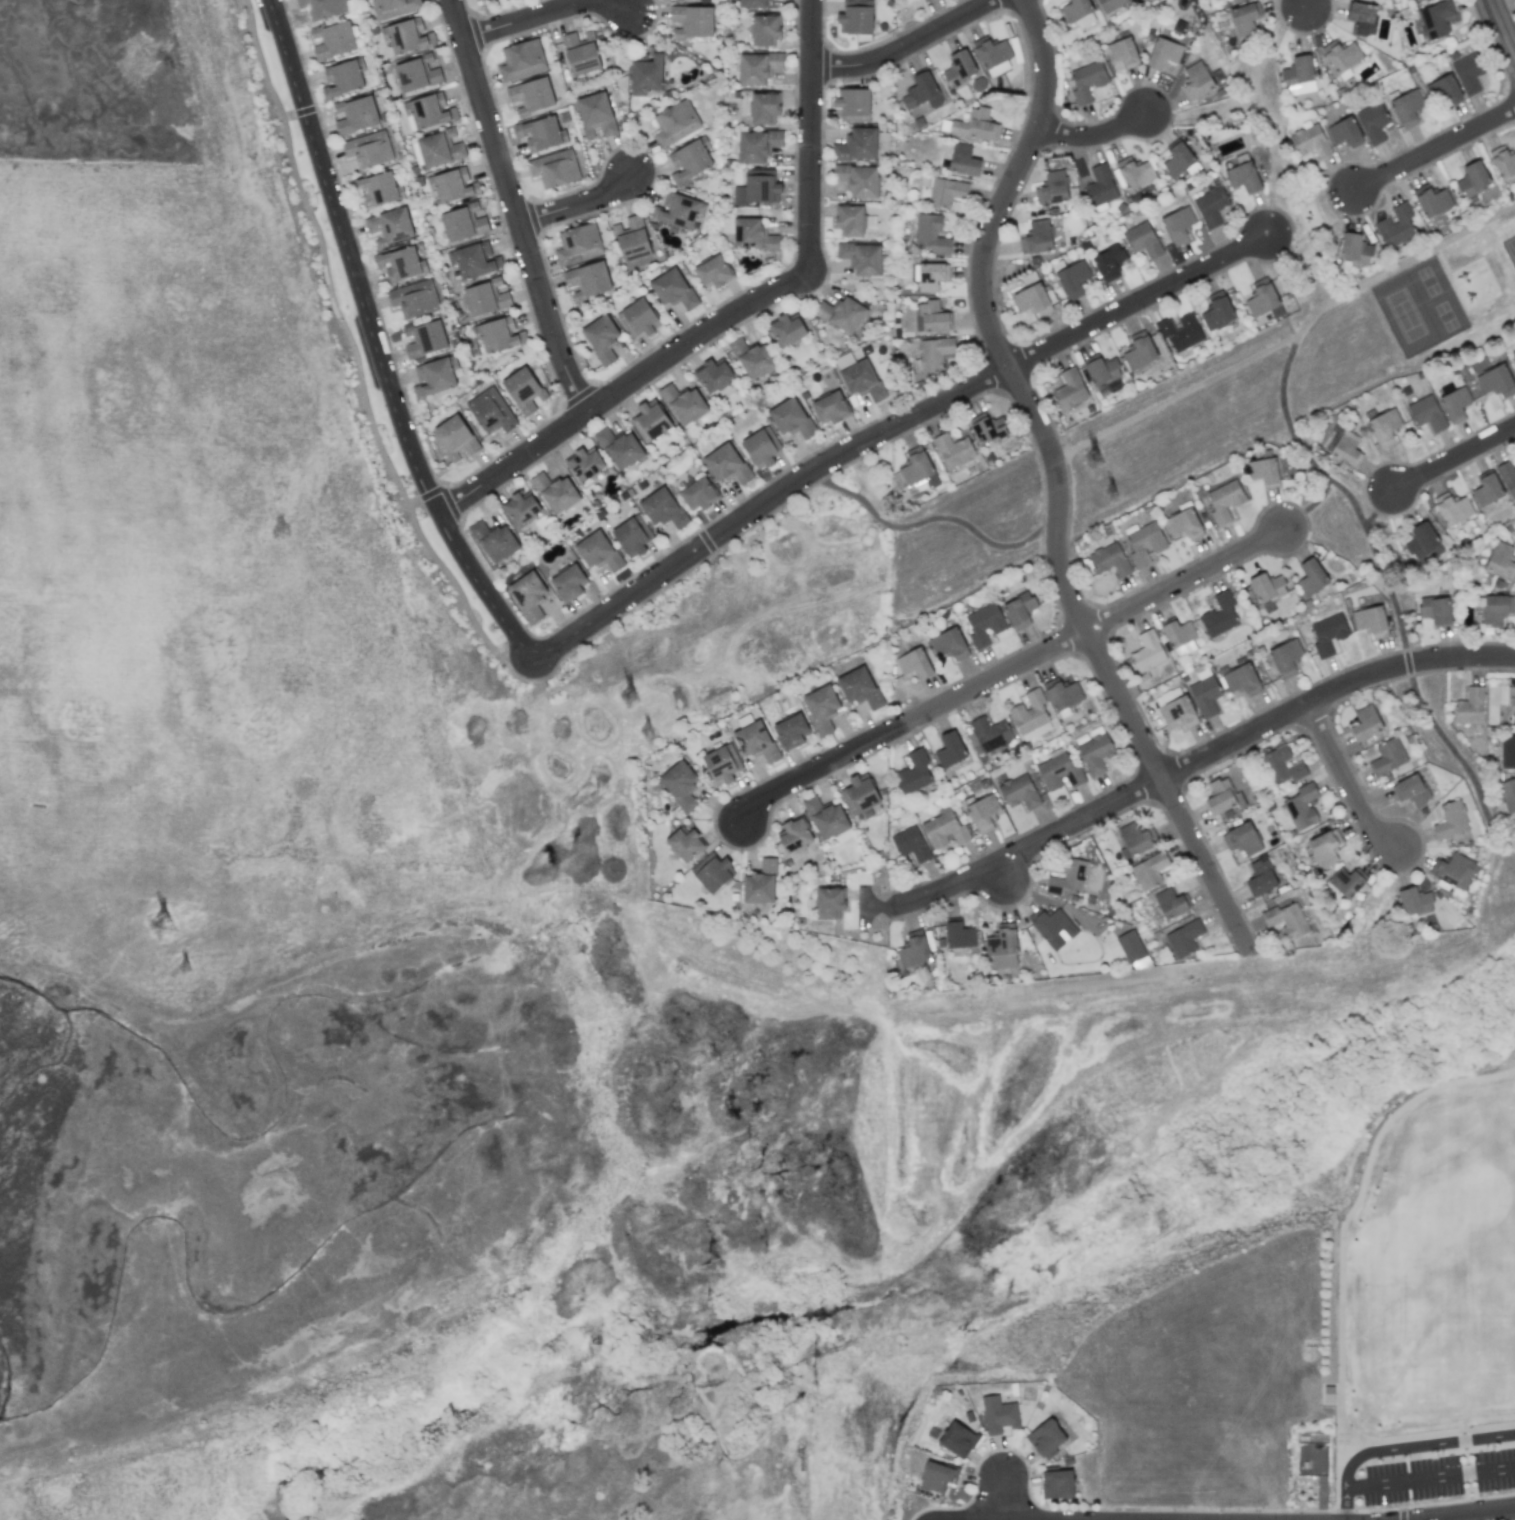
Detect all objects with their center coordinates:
building: (1238, 0)
building: (752, 3)
road: (1307, 3)
building: (1110, 5)
building: (393, 7)
building: (323, 8)
building: (1078, 12)
road: (547, 15)
building: (1362, 17)
building: (1244, 18)
building: (855, 19)
building: (1435, 19)
building: (692, 21)
building: (764, 29)
road: (1499, 30)
building: (406, 36)
building: (334, 40)
road: (909, 49)
building: (581, 53)
building: (1122, 53)
building: (1163, 53)
building: (1341, 55)
building: (993, 56)
building: (522, 60)
building: (757, 67)
building: (959, 67)
building: (1298, 71)
building: (646, 72)
building: (417, 73)
building: (1468, 73)
building: (344, 78)
building: (1087, 81)
building: (1196, 81)
building: (1443, 91)
building: (922, 92)
building: (531, 96)
building: (853, 104)
building: (764, 108)
building: (1407, 108)
building: (429, 111)
building: (356, 114)
building: (595, 114)
building: (1372, 122)
building: (675, 123)
building: (973, 124)
building: (541, 133)
building: (1344, 133)
road: (1095, 139)
building: (1309, 141)
building: (757, 145)
building: (856, 145)
building: (440, 148)
building: (368, 149)
road: (1436, 151)
building: (690, 160)
building: (1179, 160)
building: (963, 161)
building: (1502, 162)
building: (554, 168)
building: (1134, 173)
building: (1243, 174)
building: (1473, 178)
building: (858, 180)
building: (453, 185)
building: (1100, 186)
building: (1052, 188)
building: (379, 189)
building: (757, 190)
building: (946, 192)
building: (1432, 200)
road: (513, 206)
road: (578, 206)
building: (1211, 206)
building: (679, 211)
building: (849, 220)
building: (463, 223)
building: (1178, 225)
building: (1396, 226)
building: (389, 227)
building: (754, 234)
building: (930, 234)
building: (1036, 238)
building: (632, 239)
building: (1142, 240)
building: (578, 244)
building: (1355, 249)
park: (1510, 249)
building: (861, 258)
building: (474, 260)
building: (1109, 263)
building: (400, 264)
road: (806, 266)
road: (1407, 267)
building: (713, 272)
building: (929, 276)
building: (1073, 279)
building: (588, 280)
building: (672, 289)
building: (414, 299)
building: (485, 299)
building: (1032, 300)
building: (1263, 300)
building: (1217, 311)
park: (1423, 312)
building: (842, 314)
building: (932, 317)
building: (638, 318)
building: (786, 329)
building: (1180, 333)
building: (499, 335)
building: (601, 338)
building: (425, 339)
road: (373, 344)
building: (1139, 351)
building: (934, 353)
road: (354, 354)
building: (1514, 357)
building: (753, 359)
building: (1101, 370)
building: (435, 376)
building: (713, 376)
building: (861, 380)
building: (1496, 381)
building: (1070, 389)
road: (1181, 396)
building: (683, 403)
park: (1226, 404)
building: (1455, 404)
building: (830, 408)
building: (491, 411)
building: (1426, 413)
building: (791, 418)
building: (650, 421)
building: (1384, 427)
building: (987, 428)
road: (888, 433)
building: (456, 438)
building: (619, 448)
building: (761, 448)
building: (1347, 448)
building: (953, 450)
power tower: (1093, 459)
road: (1455, 461)
road: (512, 463)
building: (585, 464)
building: (726, 464)
building: (917, 472)
building: (1264, 472)
road: (1059, 476)
building: (1508, 478)
building: (1487, 490)
building: (555, 492)
building: (698, 493)
power tower: (1111, 494)
building: (1224, 501)
building: (663, 508)
building: (1452, 508)
building: (521, 511)
road: (1311, 511)
road: (1381, 512)
road: (935, 521)
building: (1183, 525)
building: (632, 536)
building: (1423, 540)
building: (494, 541)
building: (1145, 544)
building: (597, 551)
building: (1109, 560)
building: (1501, 561)
building: (1311, 577)
building: (568, 583)
road: (1389, 585)
building: (1267, 587)
building: (528, 596)
building: (1496, 609)
building: (1019, 610)
building: (1435, 610)
building: (1219, 615)
building: (1370, 621)
building: (985, 625)
building: (1328, 633)
building: (1179, 637)
building: (949, 644)
building: (1147, 652)
building: (1285, 657)
building: (914, 664)
road: (1008, 672)
building: (1241, 680)
building: (859, 687)
building: (1204, 693)
building: (1062, 694)
power tower: (629, 698)
building: (1511, 700)
building: (1470, 706)
building: (822, 708)
building: (1029, 712)
building: (1178, 712)
building: (1365, 723)
building: (791, 731)
power tower: (647, 733)
building: (991, 733)
building: (755, 741)
building: (950, 750)
building: (1094, 750)
building: (1507, 752)
building: (1388, 756)
building: (721, 764)
road: (1197, 764)
building: (1281, 766)
building: (1059, 772)
building: (913, 773)
road: (1346, 781)
building: (680, 785)
building: (1411, 790)
building: (1018, 792)
building: (1508, 794)
building: (859, 795)
building: (1219, 797)
building: (1301, 807)
building: (983, 813)
building: (826, 818)
building: (1451, 820)
building: (944, 830)
building: (795, 835)
building: (1242, 839)
building: (1133, 840)
building: (684, 844)
building: (910, 844)
building: (1324, 849)
building: (1149, 871)
building: (1454, 871)
building: (712, 872)
building: (1068, 877)
building: (1261, 877)
building: (1345, 882)
building: (760, 883)
building: (1415, 901)
building: (829, 902)
building: (1170, 903)
building: (1286, 920)
power tower: (162, 927)
building: (1050, 927)
building: (959, 935)
building: (1184, 938)
building: (1002, 948)
building: (914, 949)
power tower: (185, 970)
road: (1342, 1246)
park: (1336, 1333)
building: (1329, 1394)
building: (998, 1415)
building: (1045, 1437)
road: (1427, 1439)
building: (957, 1440)
road: (1405, 1451)
building: (937, 1477)
road: (1430, 1480)
parking lot: (1431, 1481)
building: (1057, 1484)
road: (1002, 1500)
road: (1474, 1515)

